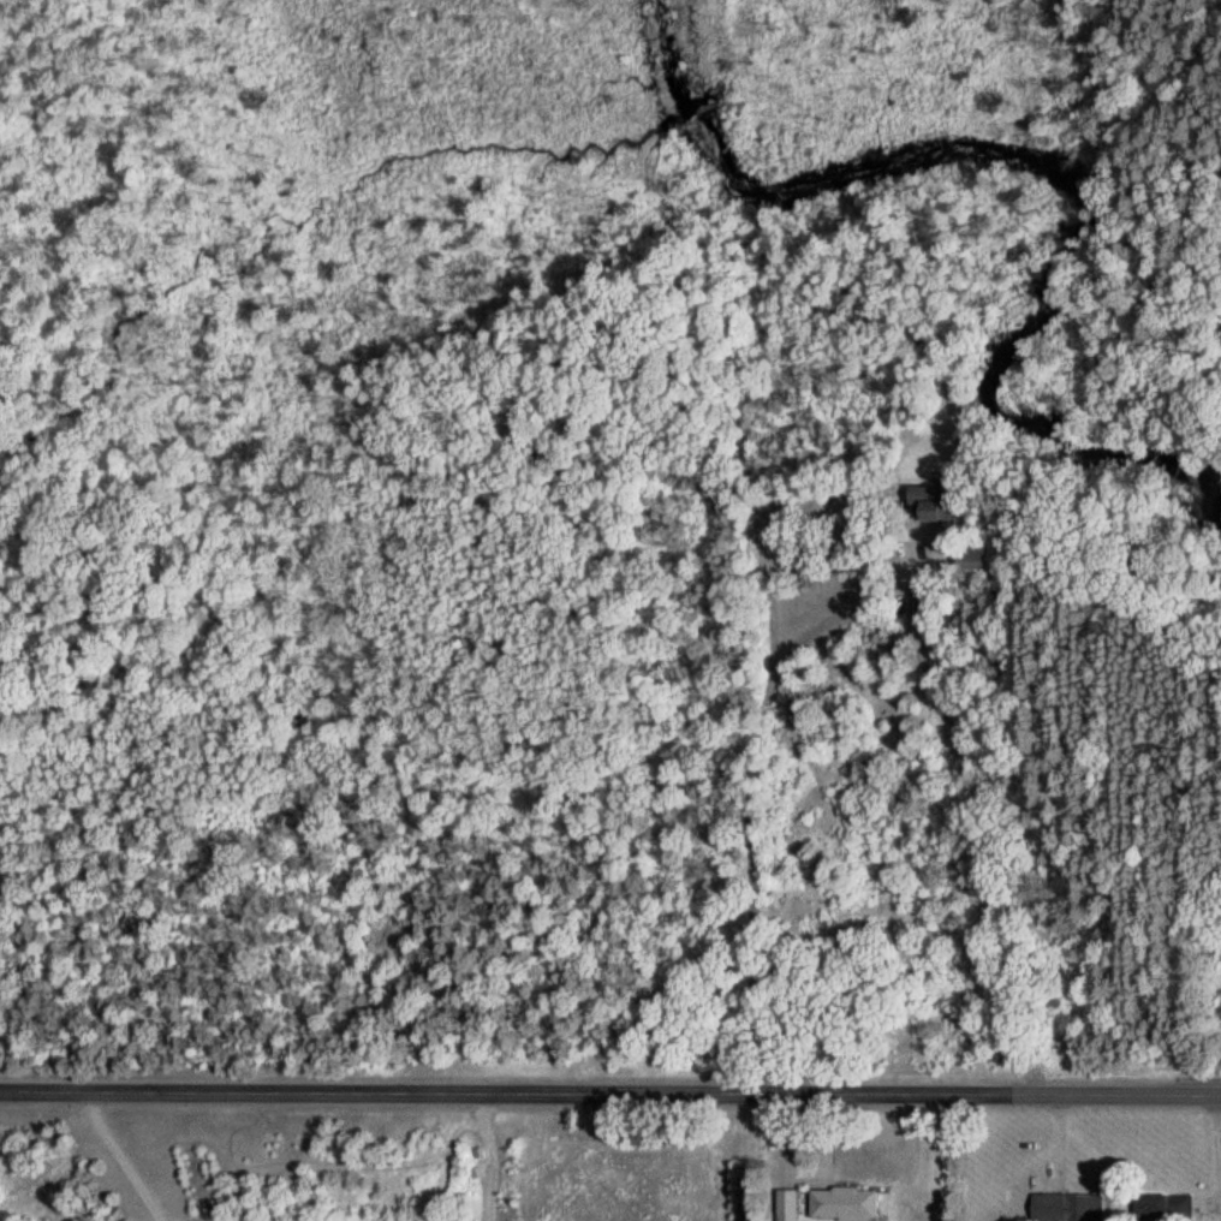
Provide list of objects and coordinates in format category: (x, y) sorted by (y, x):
building: (933, 505)
road: (739, 788)
road: (610, 1092)
road: (107, 1157)
building: (839, 1204)
building: (784, 1205)
building: (1066, 1207)
building: (1159, 1207)

